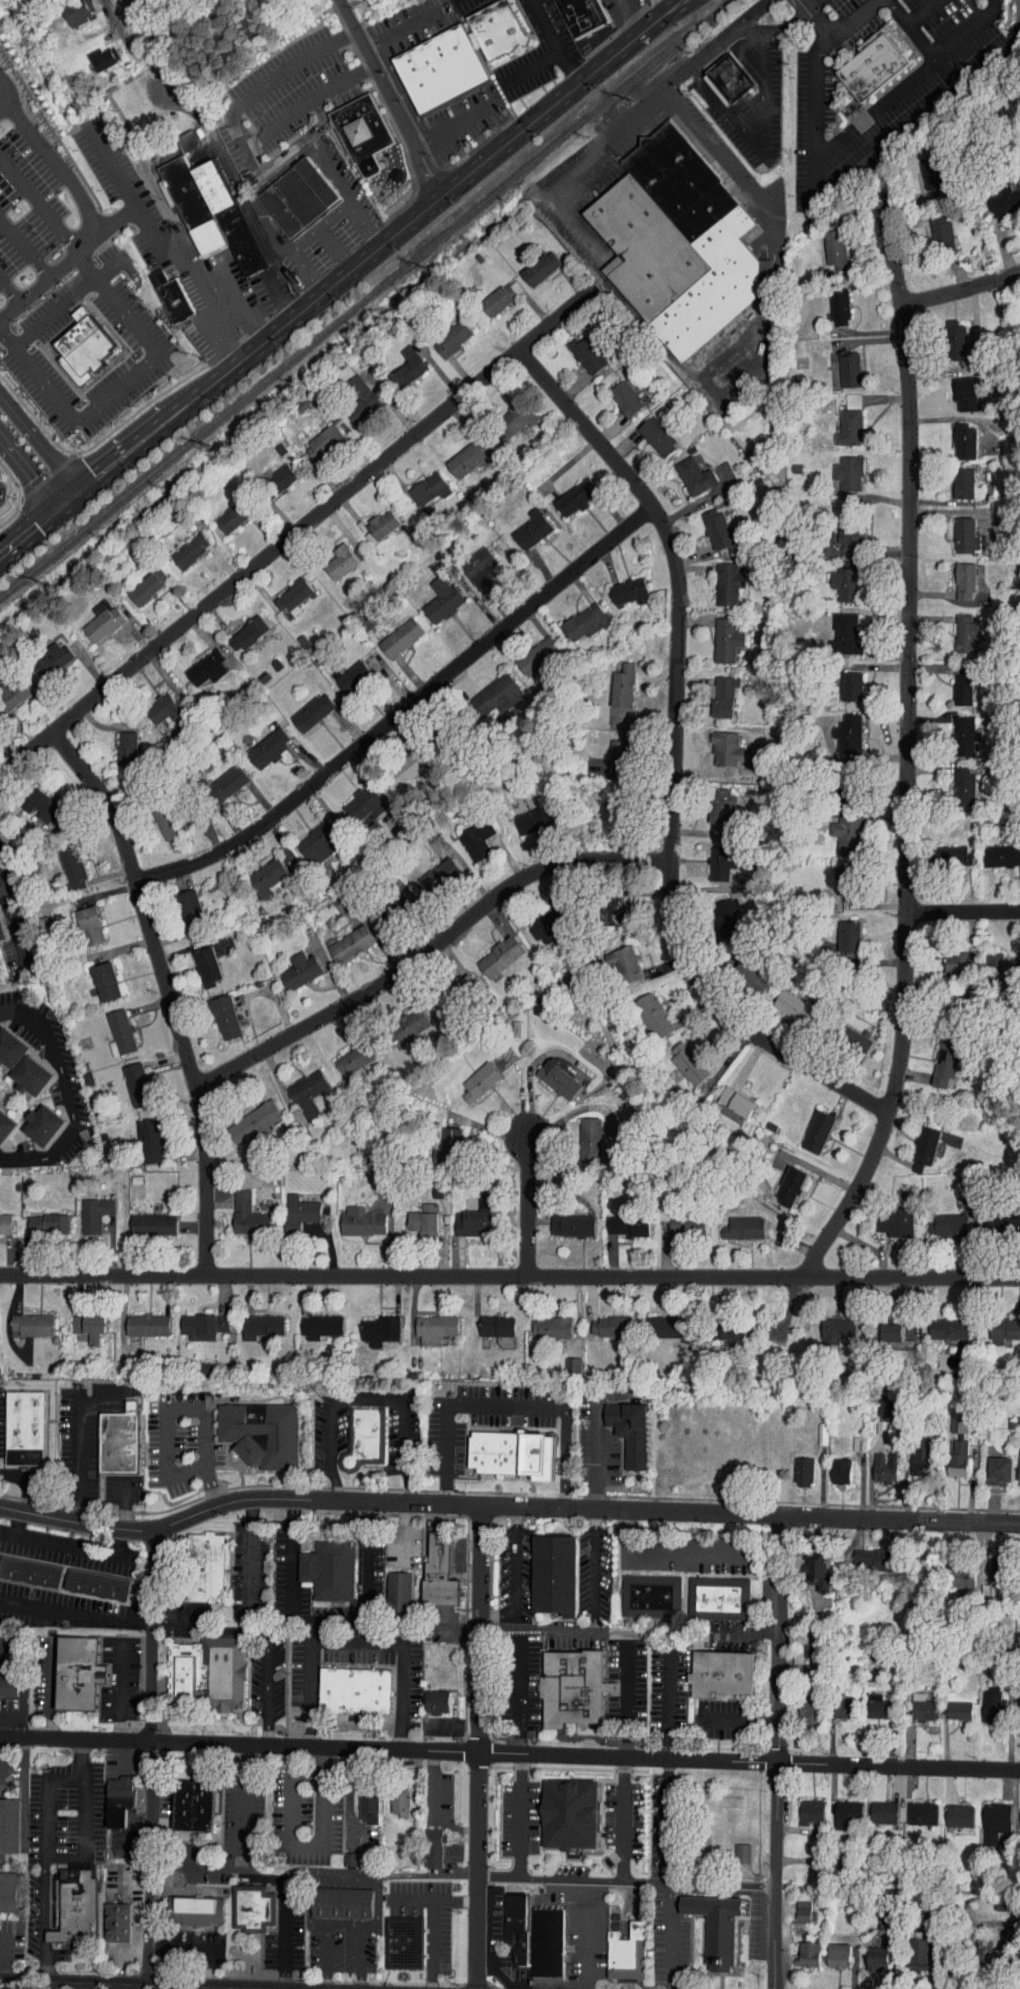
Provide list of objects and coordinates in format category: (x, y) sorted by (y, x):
building: (115, 1)
road: (811, 4)
building: (69, 8)
road: (922, 11)
building: (571, 13)
road: (634, 16)
road: (814, 17)
building: (488, 24)
road: (775, 27)
road: (126, 31)
road: (1016, 39)
road: (923, 42)
road: (551, 43)
building: (94, 52)
road: (530, 67)
building: (874, 67)
building: (442, 68)
building: (718, 74)
road: (655, 94)
road: (391, 98)
road: (5, 110)
road: (504, 119)
road: (277, 121)
road: (453, 123)
road: (758, 126)
building: (364, 133)
building: (178, 135)
road: (894, 137)
road: (838, 138)
road: (704, 142)
road: (246, 151)
road: (50, 153)
road: (111, 168)
building: (924, 170)
building: (998, 195)
building: (299, 198)
road: (39, 205)
building: (210, 212)
road: (137, 213)
road: (253, 222)
building: (932, 225)
road: (320, 227)
building: (669, 236)
building: (826, 243)
road: (25, 246)
building: (532, 262)
road: (342, 277)
road: (231, 287)
road: (961, 288)
building: (492, 291)
road: (9, 292)
building: (173, 294)
railway: (364, 299)
road: (65, 300)
building: (829, 302)
building: (442, 333)
building: (949, 335)
building: (84, 344)
building: (578, 349)
building: (399, 361)
building: (718, 363)
building: (840, 364)
road: (118, 383)
building: (956, 388)
building: (617, 393)
building: (841, 395)
building: (351, 396)
building: (508, 411)
building: (840, 422)
building: (648, 430)
building: (956, 435)
building: (314, 436)
road: (39, 444)
building: (459, 452)
building: (275, 470)
building: (685, 470)
road: (29, 471)
building: (839, 471)
building: (955, 478)
building: (420, 483)
building: (566, 492)
traffic signals: (68, 498)
building: (223, 511)
building: (374, 518)
building: (707, 523)
building: (524, 524)
building: (957, 530)
road: (300, 532)
building: (842, 533)
building: (181, 545)
building: (332, 556)
building: (470, 563)
building: (956, 575)
building: (719, 577)
building: (835, 578)
building: (138, 580)
building: (620, 585)
building: (284, 591)
building: (433, 594)
building: (93, 615)
building: (576, 616)
building: (242, 627)
building: (837, 628)
building: (957, 628)
building: (392, 632)
building: (717, 634)
building: (528, 650)
building: (47, 655)
building: (198, 662)
building: (344, 671)
building: (613, 680)
building: (842, 681)
building: (955, 684)
building: (10, 686)
building: (488, 689)
building: (715, 690)
building: (156, 703)
building: (304, 706)
road: (403, 709)
building: (839, 728)
building: (956, 730)
building: (260, 742)
building: (118, 743)
building: (719, 743)
road: (907, 749)
building: (612, 750)
road: (674, 760)
building: (398, 763)
building: (954, 776)
building: (219, 777)
building: (355, 798)
building: (713, 801)
building: (35, 803)
building: (525, 815)
building: (155, 817)
building: (467, 834)
building: (309, 837)
building: (839, 847)
building: (943, 850)
building: (993, 850)
building: (712, 857)
building: (63, 863)
building: (257, 871)
building: (432, 872)
building: (331, 896)
building: (181, 906)
road: (963, 911)
building: (718, 912)
road: (11, 918)
building: (80, 920)
building: (532, 922)
building: (840, 931)
building: (342, 939)
road: (430, 947)
building: (491, 951)
building: (985, 957)
building: (614, 959)
building: (946, 960)
building: (197, 961)
building: (291, 965)
building: (95, 977)
road: (170, 993)
building: (784, 1001)
building: (643, 1010)
building: (216, 1012)
building: (404, 1018)
building: (111, 1028)
building: (853, 1036)
building: (7, 1046)
building: (345, 1052)
building: (936, 1056)
building: (678, 1059)
building: (23, 1071)
building: (550, 1074)
building: (470, 1076)
building: (128, 1080)
building: (299, 1088)
road: (70, 1095)
building: (727, 1097)
building: (246, 1116)
building: (3, 1119)
building: (35, 1120)
building: (807, 1126)
building: (581, 1132)
building: (140, 1135)
building: (439, 1141)
building: (915, 1143)
building: (780, 1181)
road: (528, 1202)
building: (291, 1207)
building: (85, 1209)
building: (239, 1210)
building: (466, 1214)
building: (415, 1215)
building: (353, 1216)
building: (887, 1217)
building: (1, 1218)
building: (1003, 1218)
building: (38, 1219)
building: (144, 1219)
building: (563, 1220)
building: (679, 1220)
building: (940, 1220)
building: (620, 1221)
building: (735, 1223)
road: (510, 1273)
building: (139, 1318)
building: (195, 1319)
building: (252, 1319)
building: (489, 1319)
building: (80, 1320)
building: (312, 1320)
building: (543, 1320)
building: (601, 1320)
building: (657, 1320)
building: (426, 1322)
building: (940, 1322)
building: (998, 1323)
building: (35, 1324)
building: (371, 1324)
building: (827, 1324)
building: (889, 1324)
building: (723, 1325)
building: (92, 1326)
building: (562, 1358)
road: (369, 1399)
building: (875, 1401)
road: (184, 1407)
road: (457, 1407)
building: (951, 1415)
building: (812, 1427)
building: (27, 1428)
building: (632, 1430)
building: (262, 1432)
building: (365, 1437)
building: (849, 1437)
building: (121, 1440)
road: (595, 1440)
road: (77, 1443)
building: (949, 1452)
building: (516, 1453)
building: (911, 1454)
road: (564, 1457)
building: (1015, 1457)
building: (874, 1463)
building: (992, 1464)
building: (795, 1465)
building: (832, 1465)
road: (385, 1500)
road: (121, 1503)
road: (899, 1517)
road: (402, 1532)
road: (65, 1547)
road: (682, 1551)
building: (866, 1553)
road: (250, 1555)
building: (990, 1563)
building: (810, 1565)
building: (206, 1567)
road: (594, 1569)
building: (953, 1570)
building: (30, 1571)
building: (331, 1571)
building: (440, 1571)
road: (514, 1573)
building: (556, 1573)
building: (99, 1585)
building: (400, 1590)
building: (652, 1595)
building: (720, 1598)
road: (76, 1612)
road: (328, 1617)
road: (210, 1630)
road: (617, 1633)
road: (356, 1641)
building: (799, 1645)
road: (5, 1650)
building: (208, 1672)
building: (724, 1672)
building: (81, 1674)
building: (10, 1685)
building: (575, 1686)
road: (50, 1689)
road: (118, 1690)
building: (356, 1690)
road: (267, 1692)
road: (519, 1692)
building: (1015, 1694)
building: (428, 1695)
building: (983, 1699)
road: (666, 1700)
building: (870, 1700)
building: (835, 1702)
building: (439, 1703)
building: (801, 1703)
building: (912, 1703)
building: (950, 1704)
road: (740, 1719)
road: (481, 1745)
road: (390, 1750)
road: (780, 1751)
road: (2, 1757)
road: (152, 1758)
road: (900, 1765)
road: (64, 1777)
building: (110, 1794)
building: (391, 1796)
building: (359, 1799)
building: (402, 1800)
building: (120, 1801)
building: (195, 1804)
building: (370, 1804)
building: (802, 1805)
building: (875, 1806)
building: (913, 1807)
road: (345, 1808)
building: (838, 1809)
building: (950, 1810)
road: (430, 1812)
building: (1016, 1812)
building: (571, 1815)
building: (985, 1815)
road: (517, 1816)
road: (45, 1817)
road: (80, 1817)
road: (621, 1819)
road: (664, 1820)
building: (10, 1827)
road: (305, 1845)
road: (241, 1848)
building: (733, 1849)
building: (341, 1853)
building: (351, 1859)
road: (345, 1872)
road: (428, 1874)
road: (629, 1881)
building: (9, 1892)
road: (411, 1898)
building: (344, 1903)
building: (77, 1906)
building: (795, 1906)
building: (251, 1907)
building: (197, 1910)
road: (284, 1912)
building: (107, 1916)
building: (505, 1919)
road: (433, 1921)
road: (43, 1922)
building: (118, 1922)
road: (341, 1923)
building: (516, 1925)
building: (720, 1928)
road: (583, 1934)
road: (670, 1935)
building: (405, 1941)
building: (549, 1942)
road: (181, 1947)
building: (910, 1948)
building: (798, 1949)
building: (1014, 1949)
building: (829, 1950)
building: (629, 1953)
building: (869, 1954)
road: (4, 1959)
road: (41, 1987)
road: (91, 1987)
road: (78, 1988)

